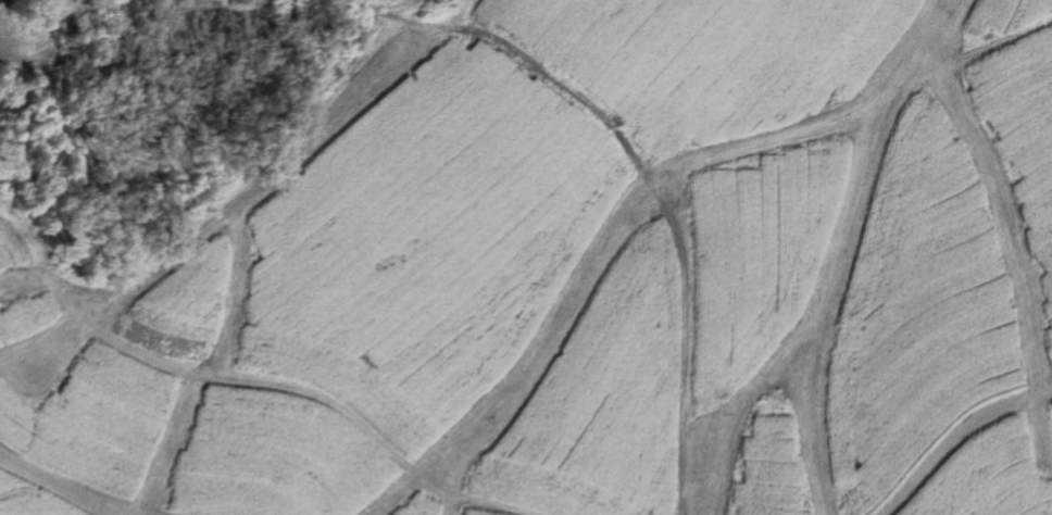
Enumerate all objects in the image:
road: (601, 176)

